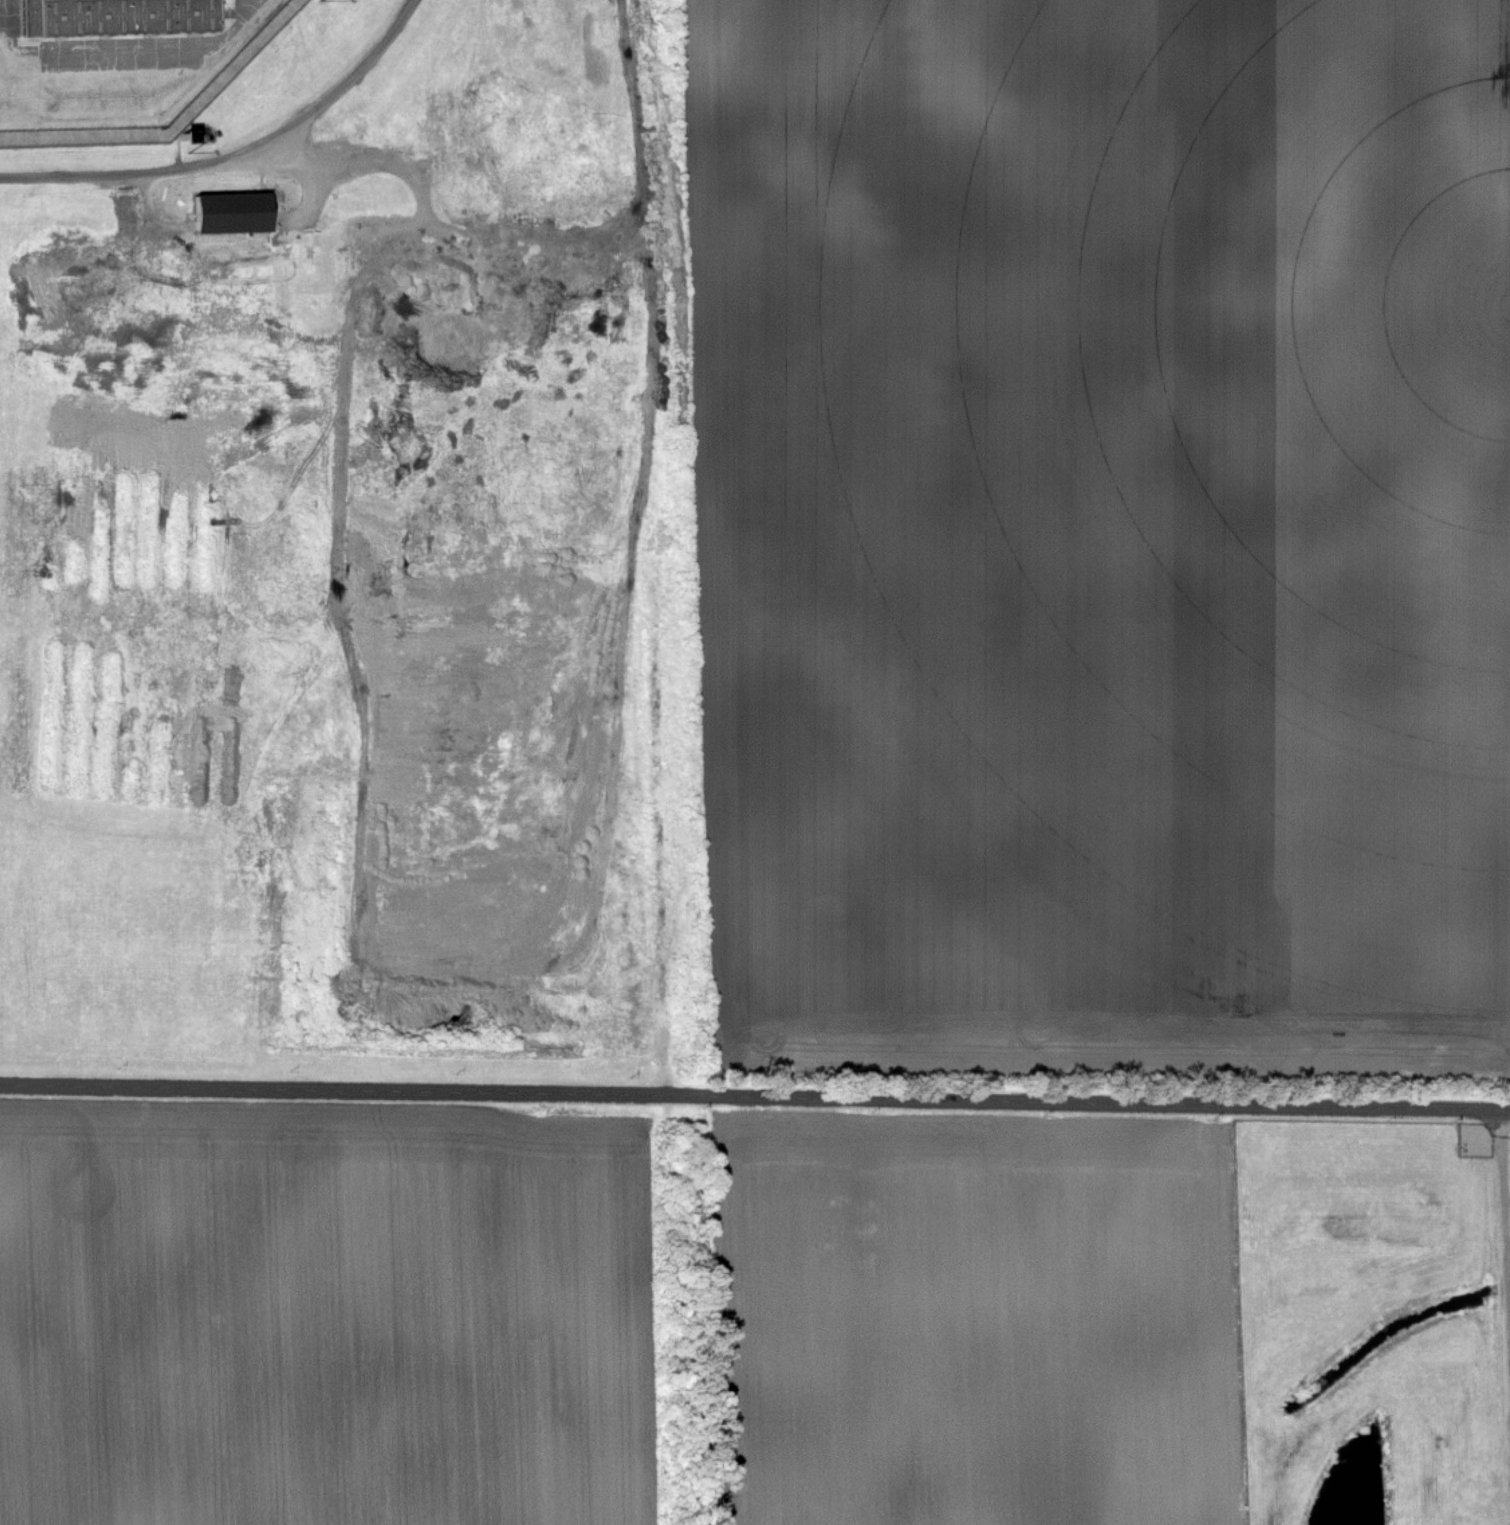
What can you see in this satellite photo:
building: (119, 18)
road: (240, 154)
road: (307, 162)
building: (233, 214)
road: (755, 1098)
road: (1504, 1241)

